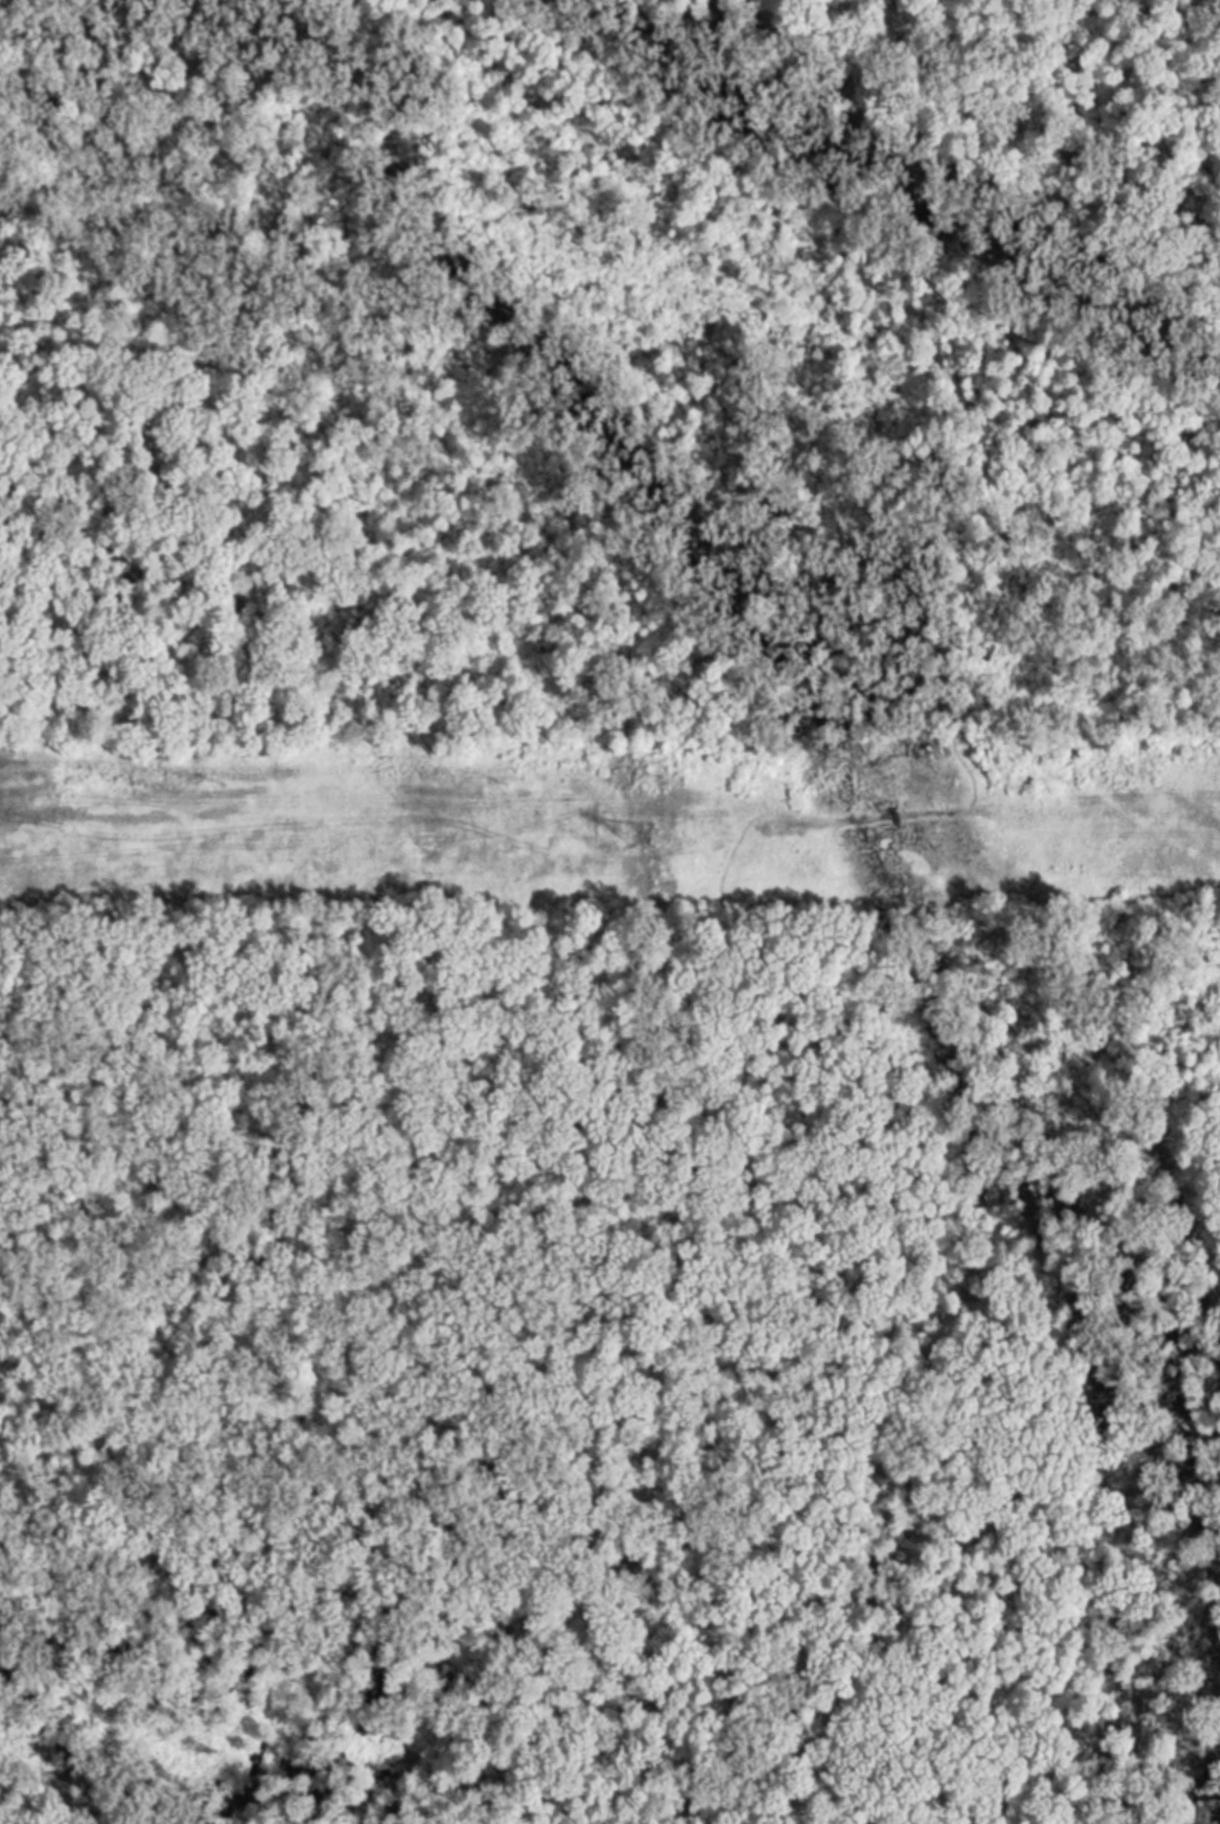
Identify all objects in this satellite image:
road: (1166, 50)
power tower: (642, 834)

